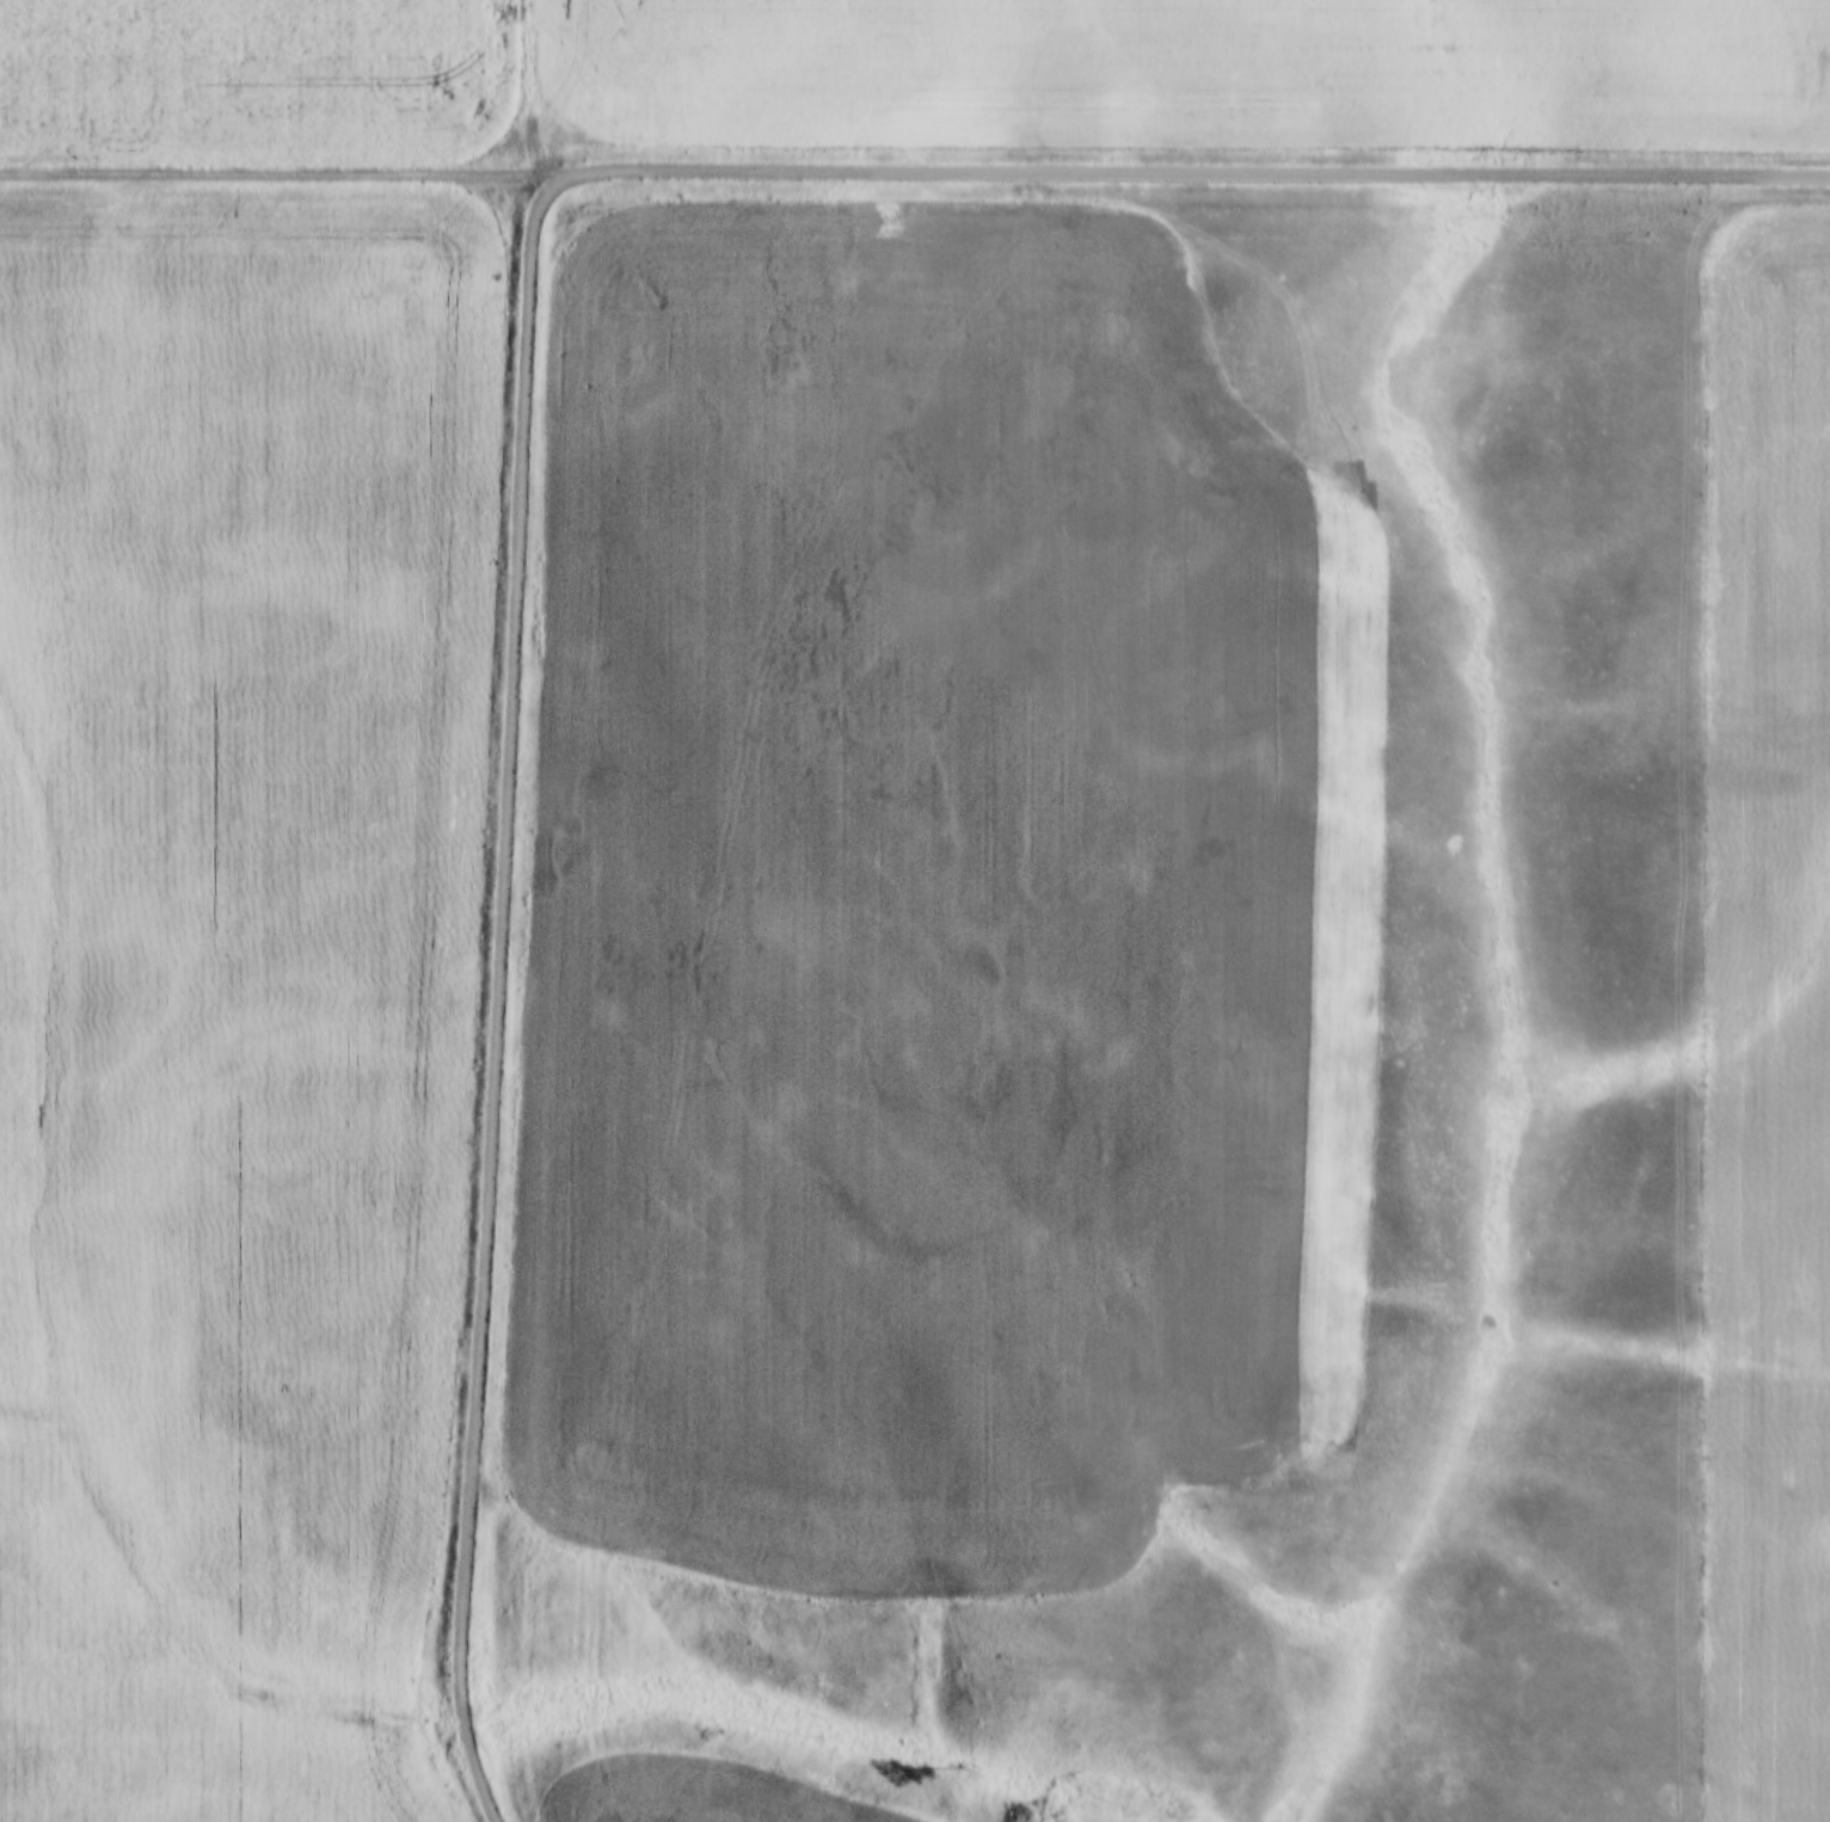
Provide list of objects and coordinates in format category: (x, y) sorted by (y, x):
road: (287, 171)
road: (1202, 172)
road: (501, 989)

